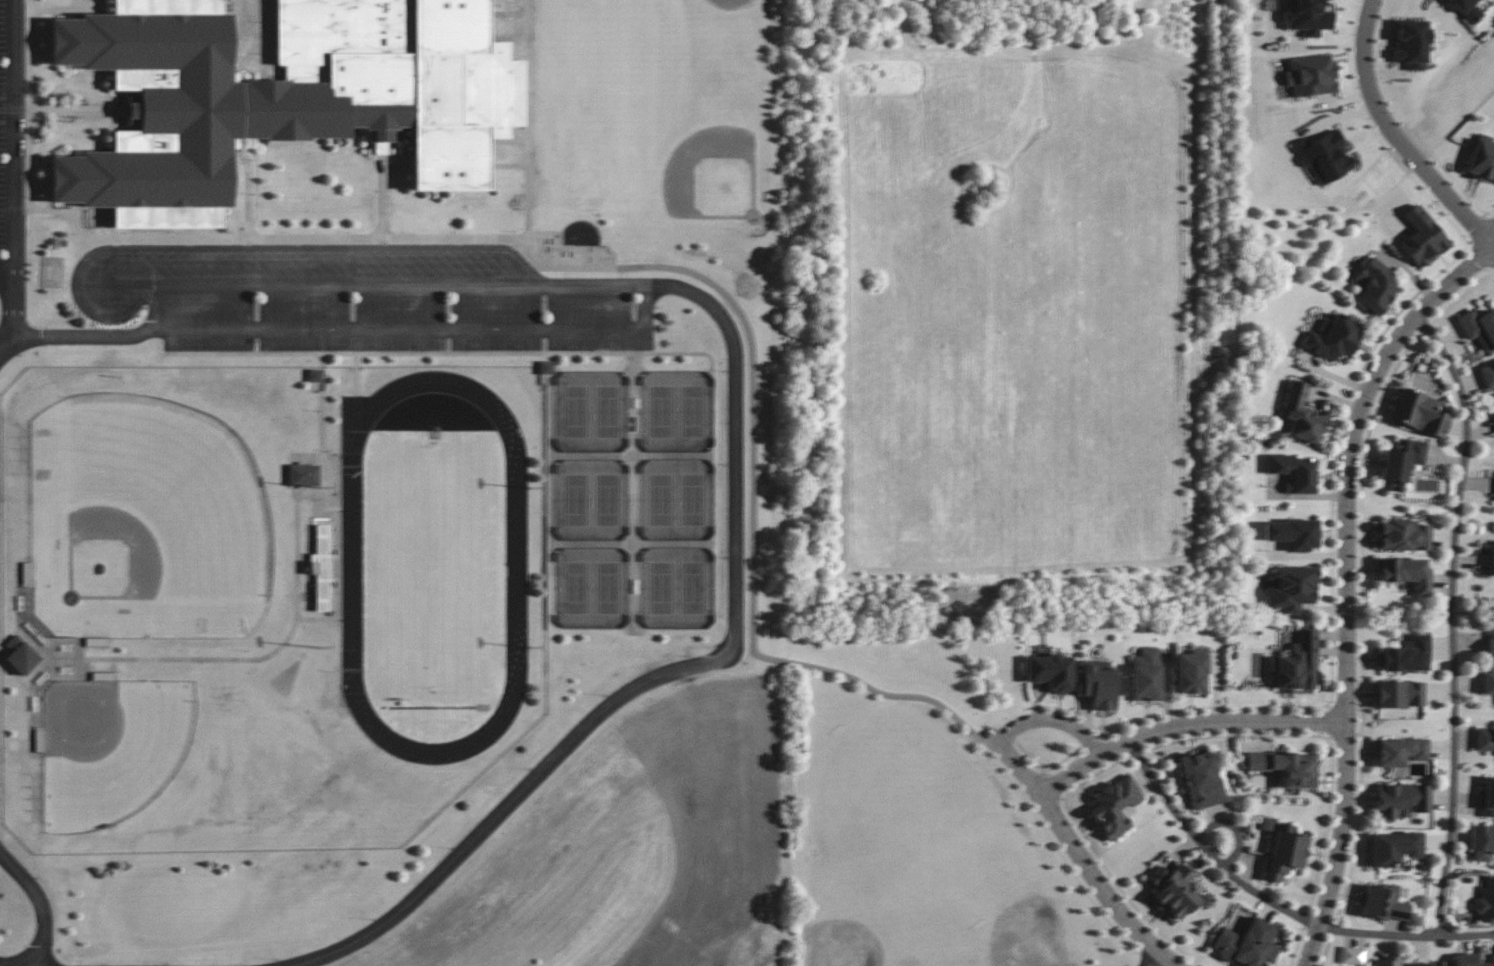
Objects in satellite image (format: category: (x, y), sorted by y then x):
building: (1461, 4)
building: (1307, 17)
building: (1411, 43)
building: (1311, 75)
building: (282, 97)
road: (1389, 130)
building: (1324, 157)
building: (1482, 158)
road: (6, 171)
road: (1488, 229)
building: (1422, 238)
road: (1488, 241)
road: (3, 282)
building: (1374, 285)
road: (386, 290)
road: (420, 326)
building: (1479, 327)
building: (1332, 337)
road: (67, 338)
building: (546, 367)
building: (315, 375)
building: (1487, 375)
building: (1420, 413)
building: (1302, 414)
building: (1401, 462)
building: (1292, 472)
building: (303, 475)
park: (638, 496)
building: (1292, 533)
building: (1402, 535)
road: (756, 544)
building: (1492, 558)
track: (515, 567)
park: (435, 568)
building: (1406, 573)
park: (150, 583)
road: (1348, 583)
building: (1290, 588)
road: (1452, 620)
building: (1490, 645)
building: (21, 655)
building: (1405, 655)
building: (1298, 664)
building: (1050, 671)
building: (1191, 672)
road: (663, 673)
building: (1146, 674)
building: (1488, 683)
building: (1097, 684)
building: (1399, 694)
road: (1053, 722)
road: (1188, 726)
building: (1485, 739)
building: (1399, 751)
building: (1287, 767)
building: (1201, 780)
building: (1487, 798)
building: (1402, 800)
building: (1115, 806)
road: (1241, 829)
building: (1482, 842)
building: (1394, 848)
building: (1284, 853)
road: (1083, 860)
building: (1174, 892)
road: (40, 900)
building: (1382, 902)
building: (1485, 902)
road: (1278, 904)
building: (1245, 943)
building: (1352, 955)
building: (1491, 958)
road: (1156, 959)
building: (1465, 959)
building: (1386, 961)
building: (1420, 964)

